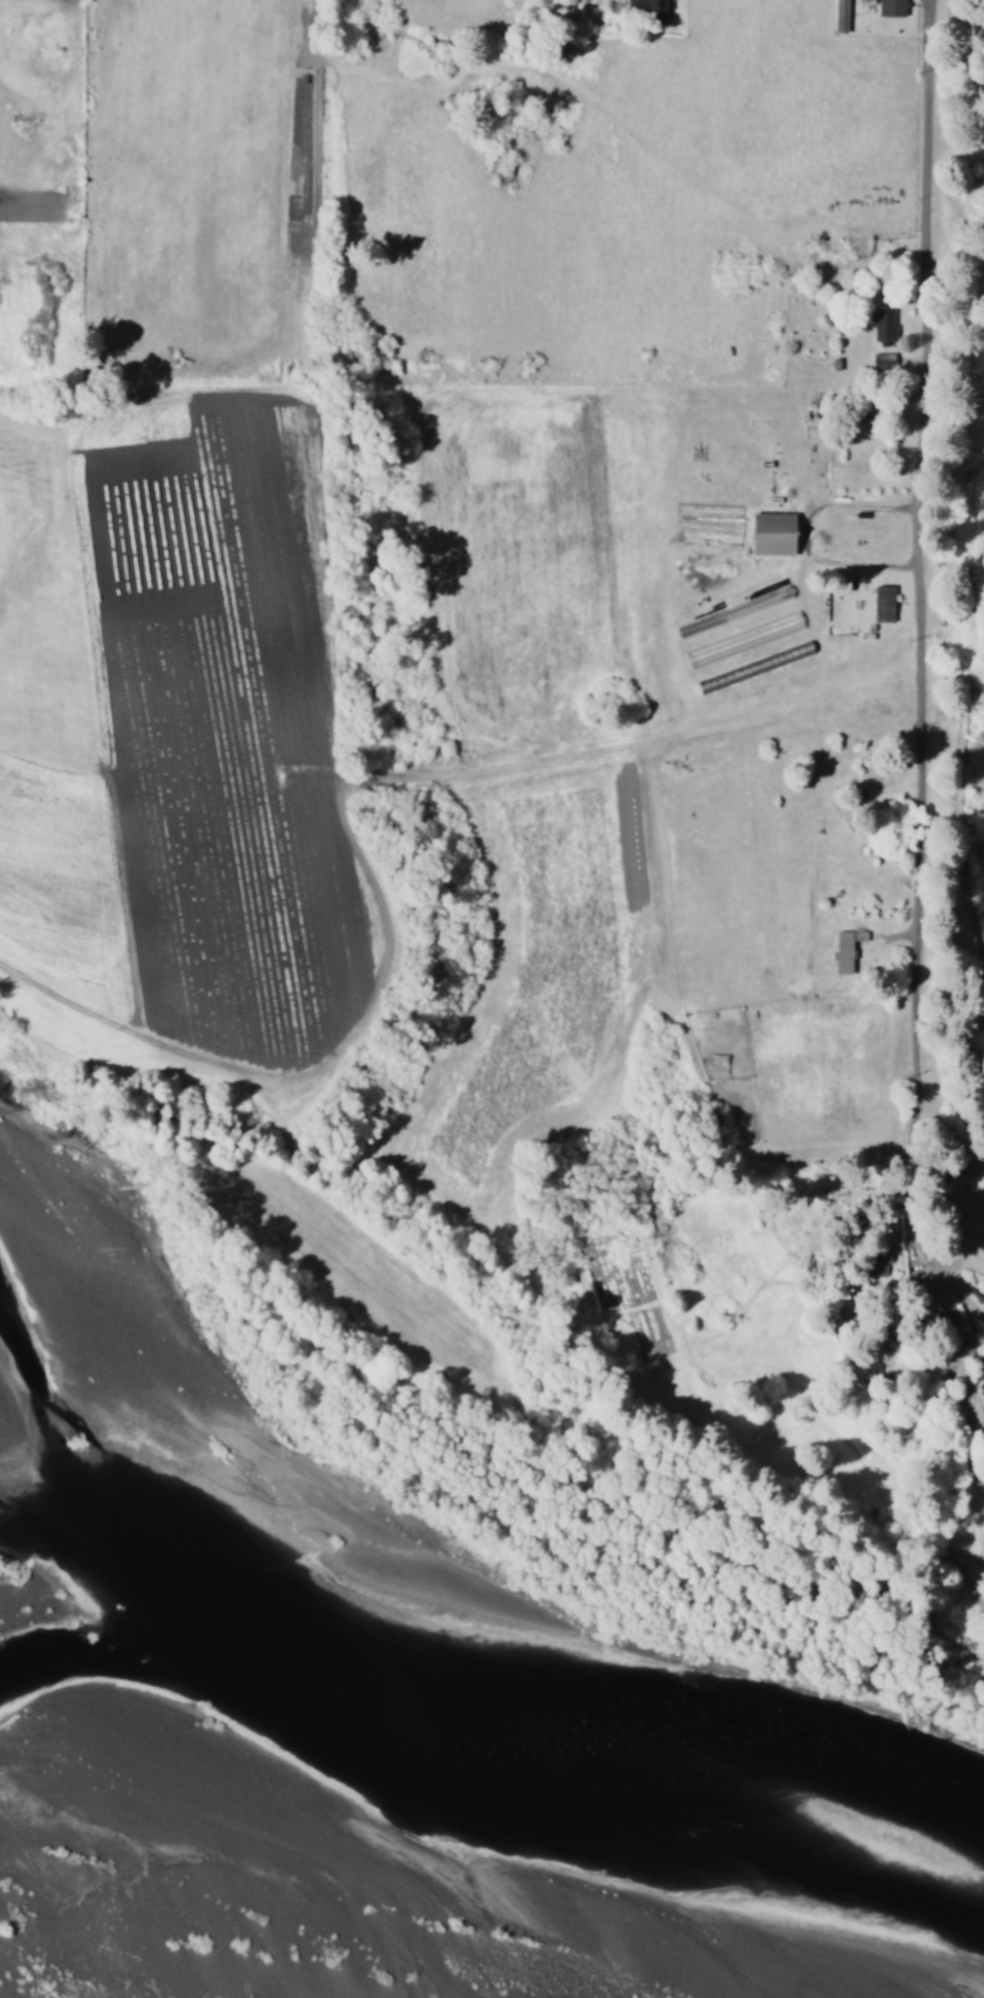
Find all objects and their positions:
building: (891, 6)
building: (649, 9)
building: (838, 16)
building: (882, 322)
building: (881, 358)
road: (781, 378)
road: (581, 406)
building: (766, 533)
road: (920, 538)
building: (881, 602)
road: (802, 729)
road: (748, 904)
building: (841, 953)
road: (922, 1015)
road: (947, 1122)
road: (970, 1575)
road: (983, 1607)
road: (924, 1649)
road: (668, 1763)
river: (459, 1943)

